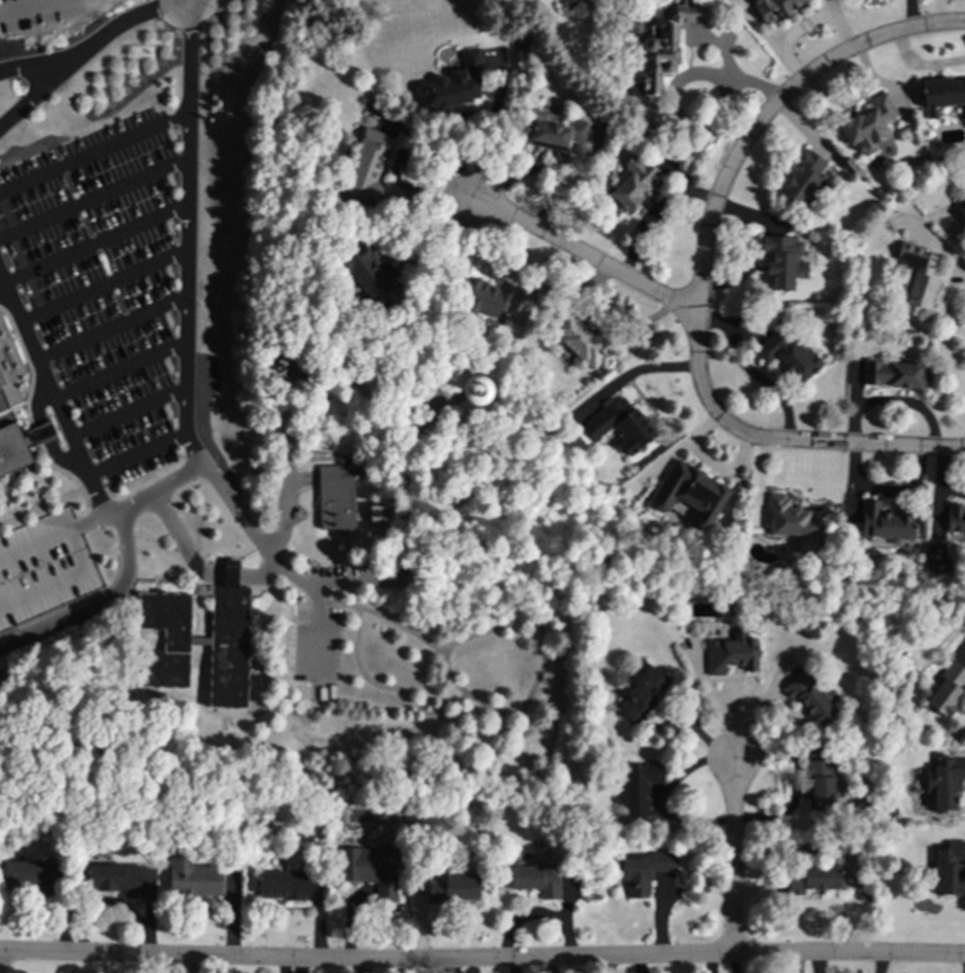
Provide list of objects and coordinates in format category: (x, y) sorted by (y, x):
road: (33, 8)
building: (775, 8)
road: (90, 45)
building: (665, 45)
building: (455, 83)
road: (677, 84)
building: (942, 95)
road: (31, 98)
building: (869, 124)
building: (550, 130)
road: (94, 151)
building: (368, 165)
road: (558, 174)
road: (516, 176)
building: (803, 180)
building: (634, 182)
road: (94, 197)
road: (716, 201)
building: (962, 207)
road: (96, 242)
road: (584, 255)
building: (783, 261)
road: (432, 267)
building: (370, 273)
parking lot: (102, 278)
building: (915, 278)
road: (104, 284)
road: (186, 296)
building: (489, 297)
road: (112, 327)
building: (579, 342)
road: (356, 348)
building: (787, 355)
road: (120, 369)
building: (893, 374)
building: (474, 390)
building: (9, 391)
water tower: (475, 391)
road: (53, 394)
road: (128, 411)
road: (286, 425)
building: (619, 425)
road: (890, 446)
road: (136, 454)
building: (690, 493)
building: (336, 496)
road: (142, 497)
road: (286, 504)
building: (793, 520)
building: (956, 520)
building: (884, 522)
road: (75, 530)
road: (35, 547)
building: (44, 567)
parking garage: (44, 567)
road: (264, 573)
road: (63, 580)
road: (97, 600)
road: (10, 634)
building: (165, 638)
building: (228, 641)
building: (731, 653)
building: (948, 687)
building: (640, 692)
building: (811, 697)
building: (944, 780)
building: (819, 784)
building: (638, 786)
road: (733, 856)
building: (949, 868)
building: (370, 869)
building: (645, 871)
building: (31, 874)
building: (115, 878)
building: (193, 878)
building: (535, 878)
building: (811, 878)
building: (282, 884)
building: (454, 887)
road: (482, 961)

